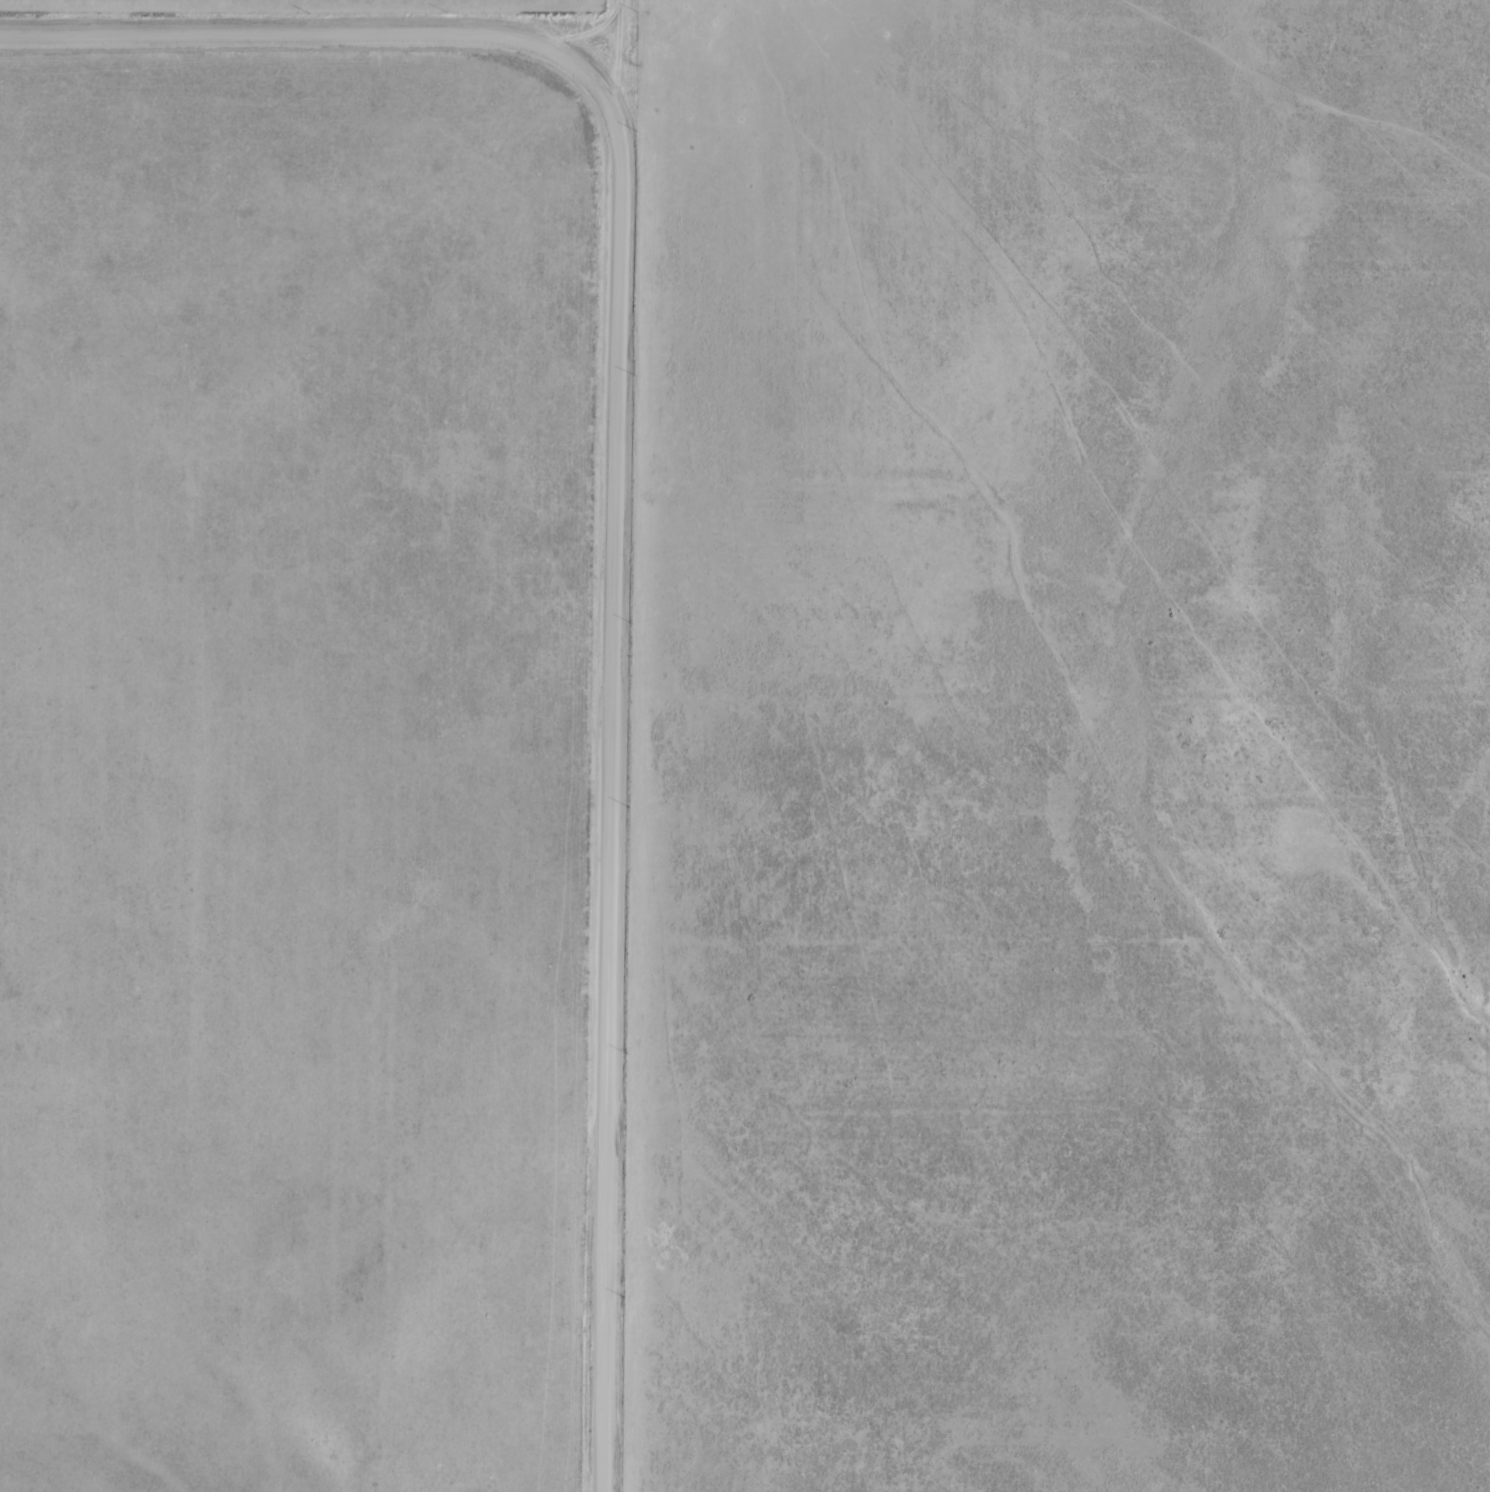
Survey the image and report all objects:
road: (588, 31)
road: (618, 47)
road: (619, 474)

